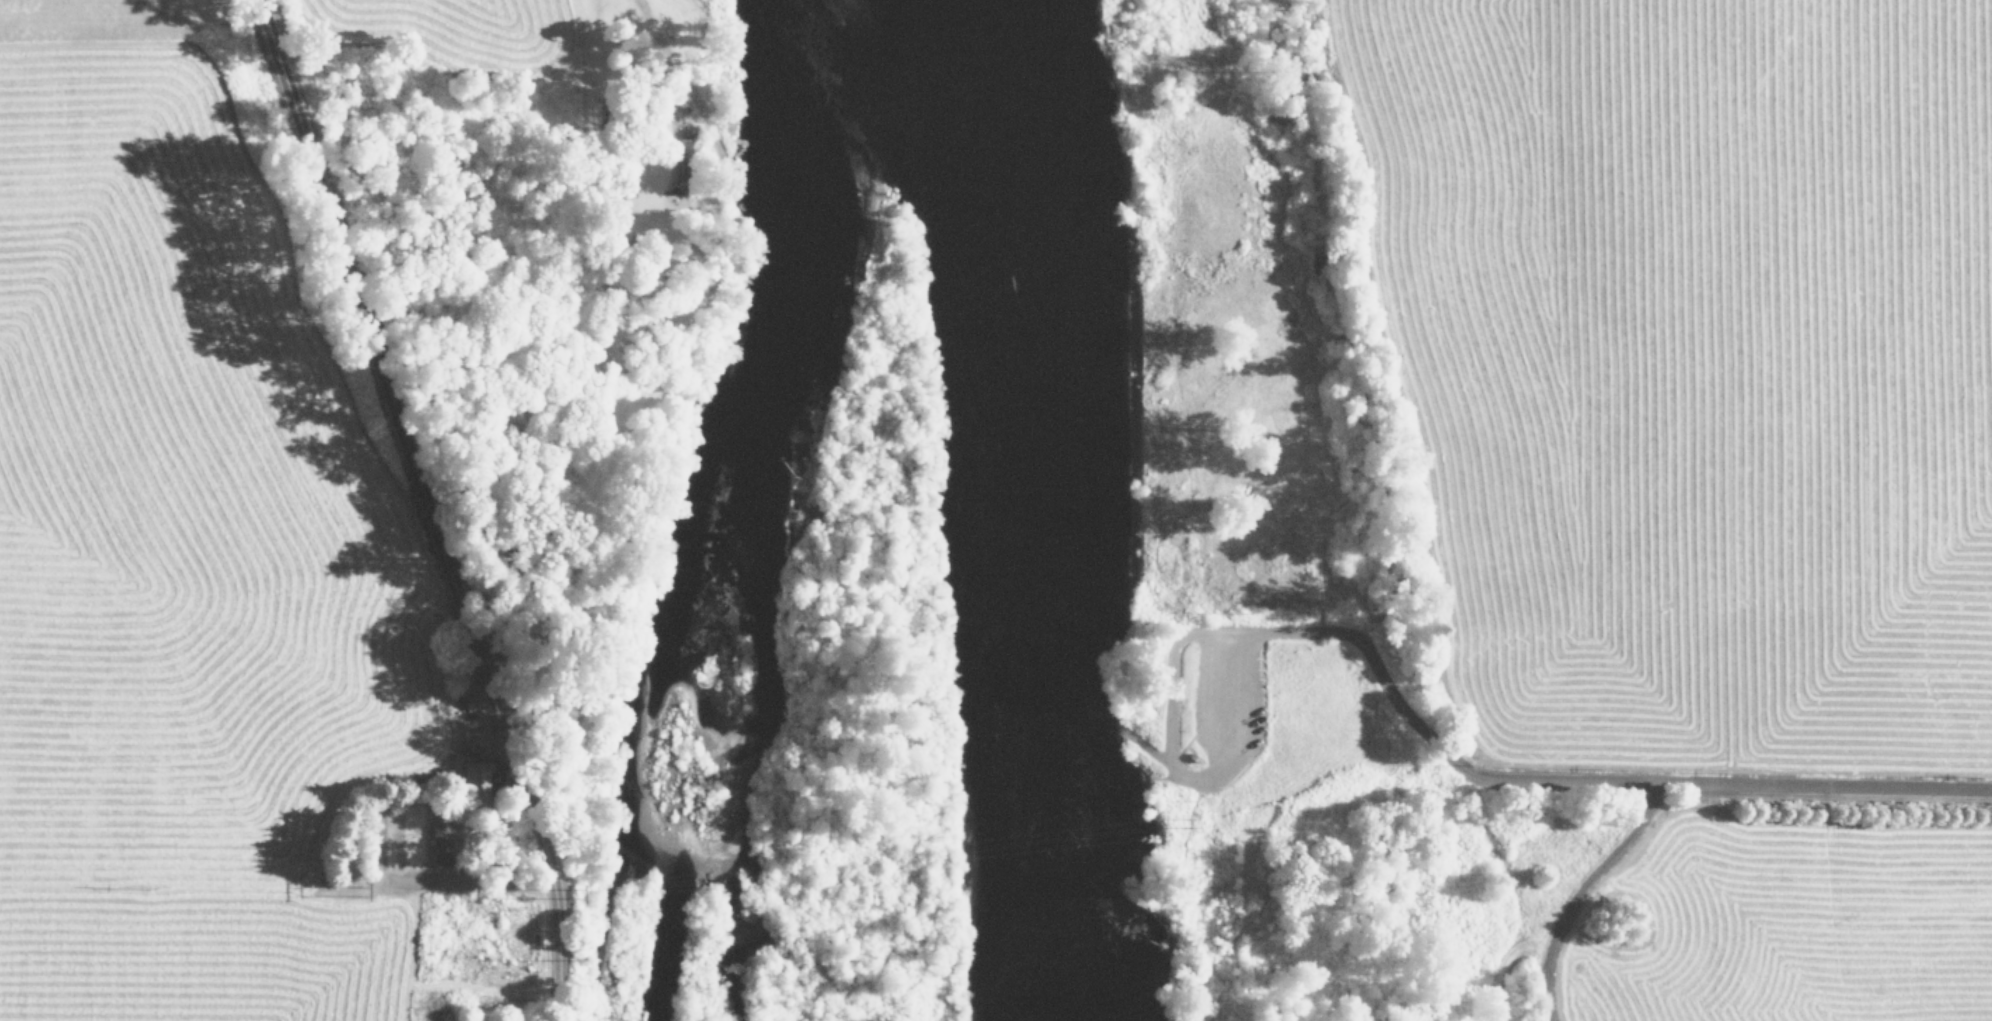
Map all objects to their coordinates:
crop: (467, 27)
building: (683, 167)
crop: (1703, 484)
road: (428, 507)
river: (1028, 509)
crop: (231, 607)
road: (1535, 768)
building: (443, 842)

